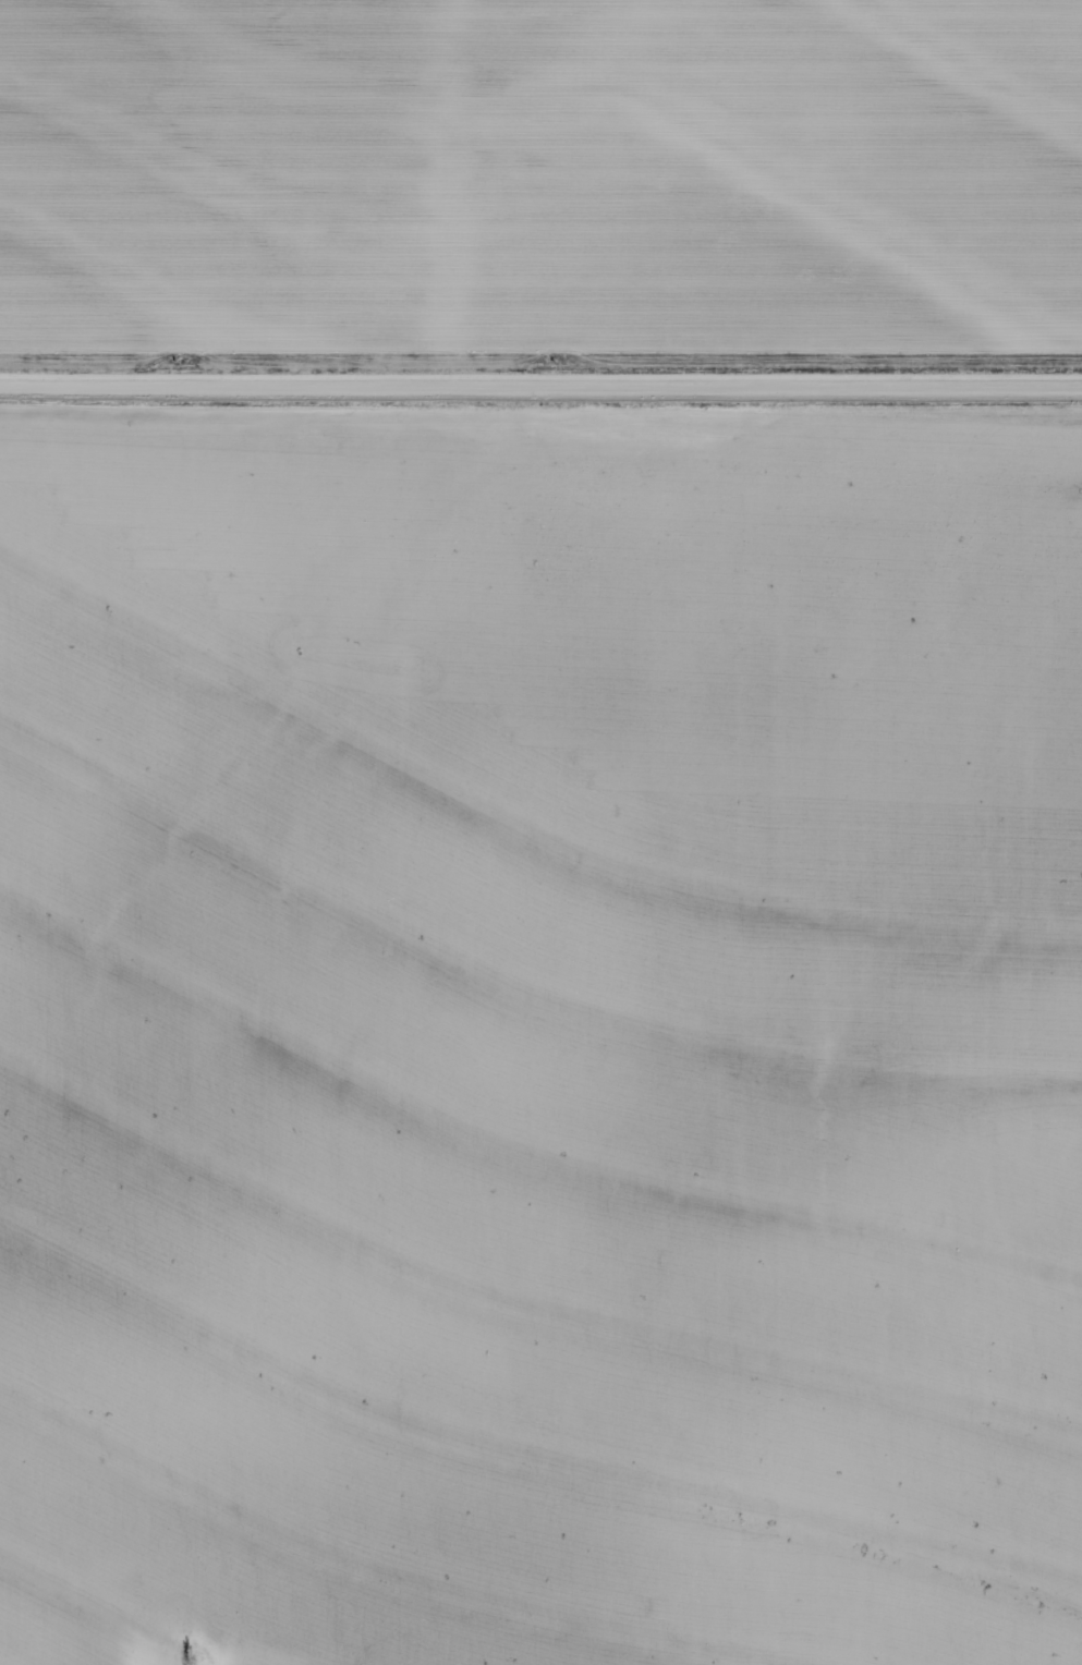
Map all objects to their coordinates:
road: (540, 386)

